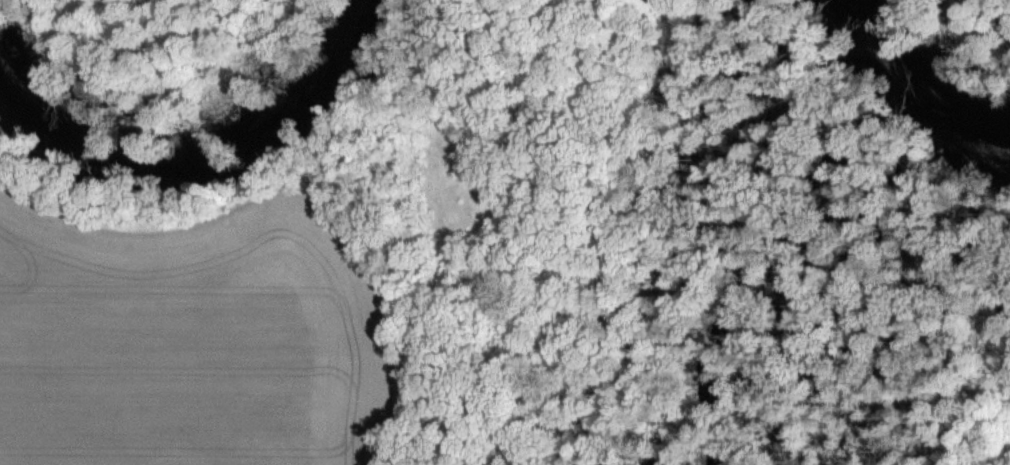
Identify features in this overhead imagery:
river: (917, 83)
river: (197, 163)

